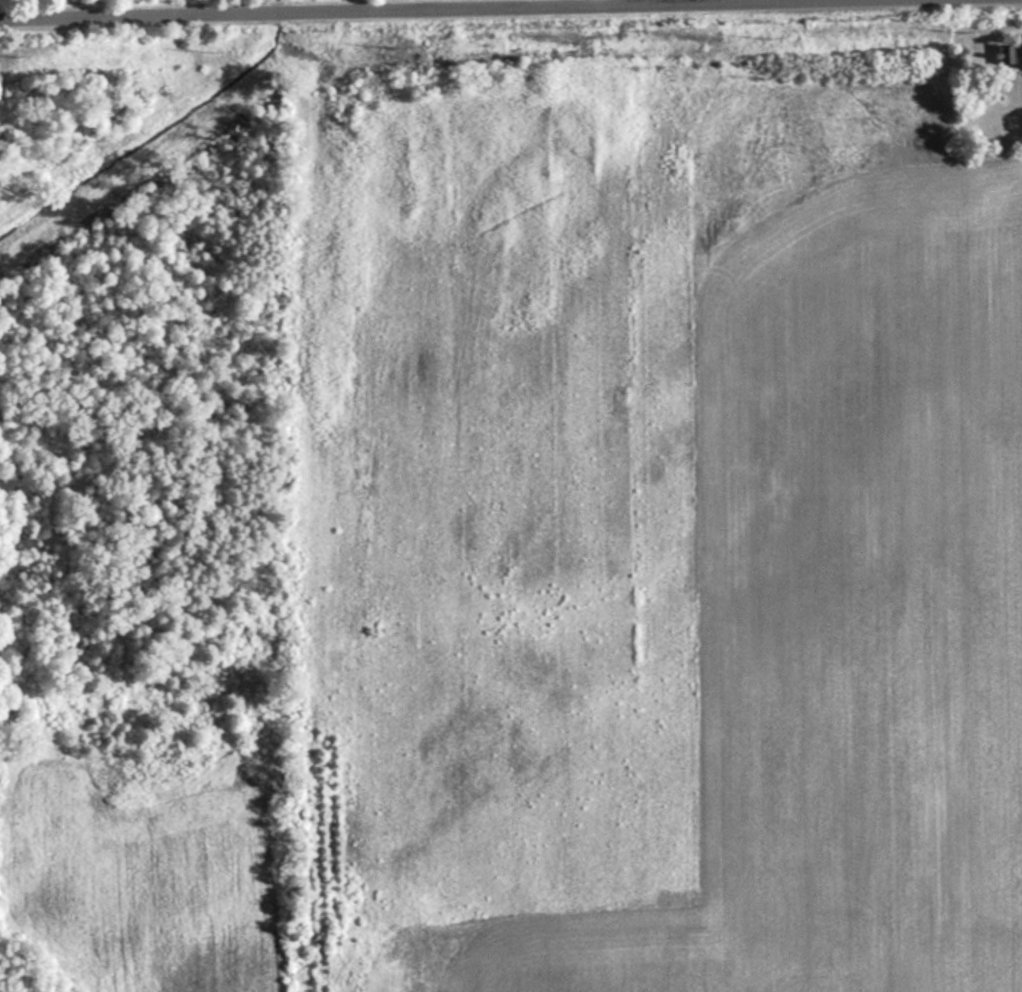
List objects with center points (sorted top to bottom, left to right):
road: (510, 11)
building: (1008, 54)

